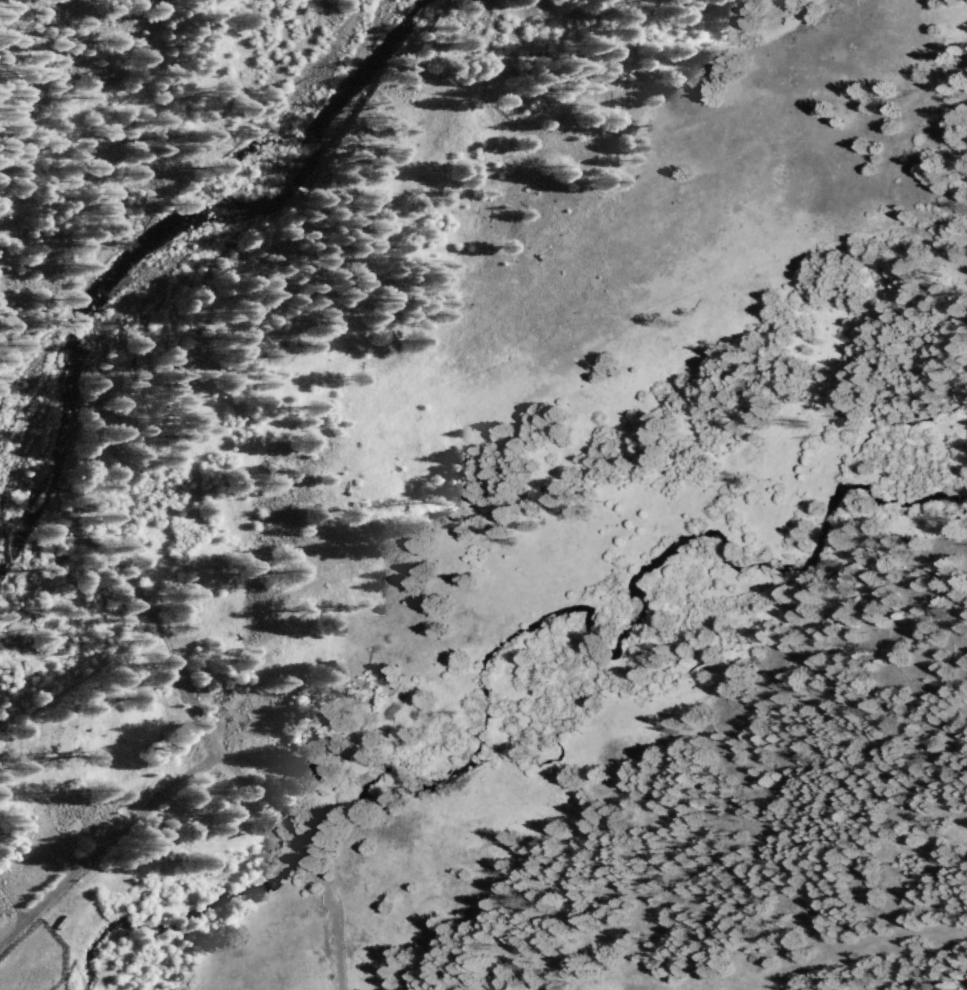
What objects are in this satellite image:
road: (46, 72)
river: (169, 233)
road: (128, 584)
road: (193, 707)
road: (250, 789)
road: (113, 835)
road: (10, 906)
road: (333, 931)
road: (9, 932)

